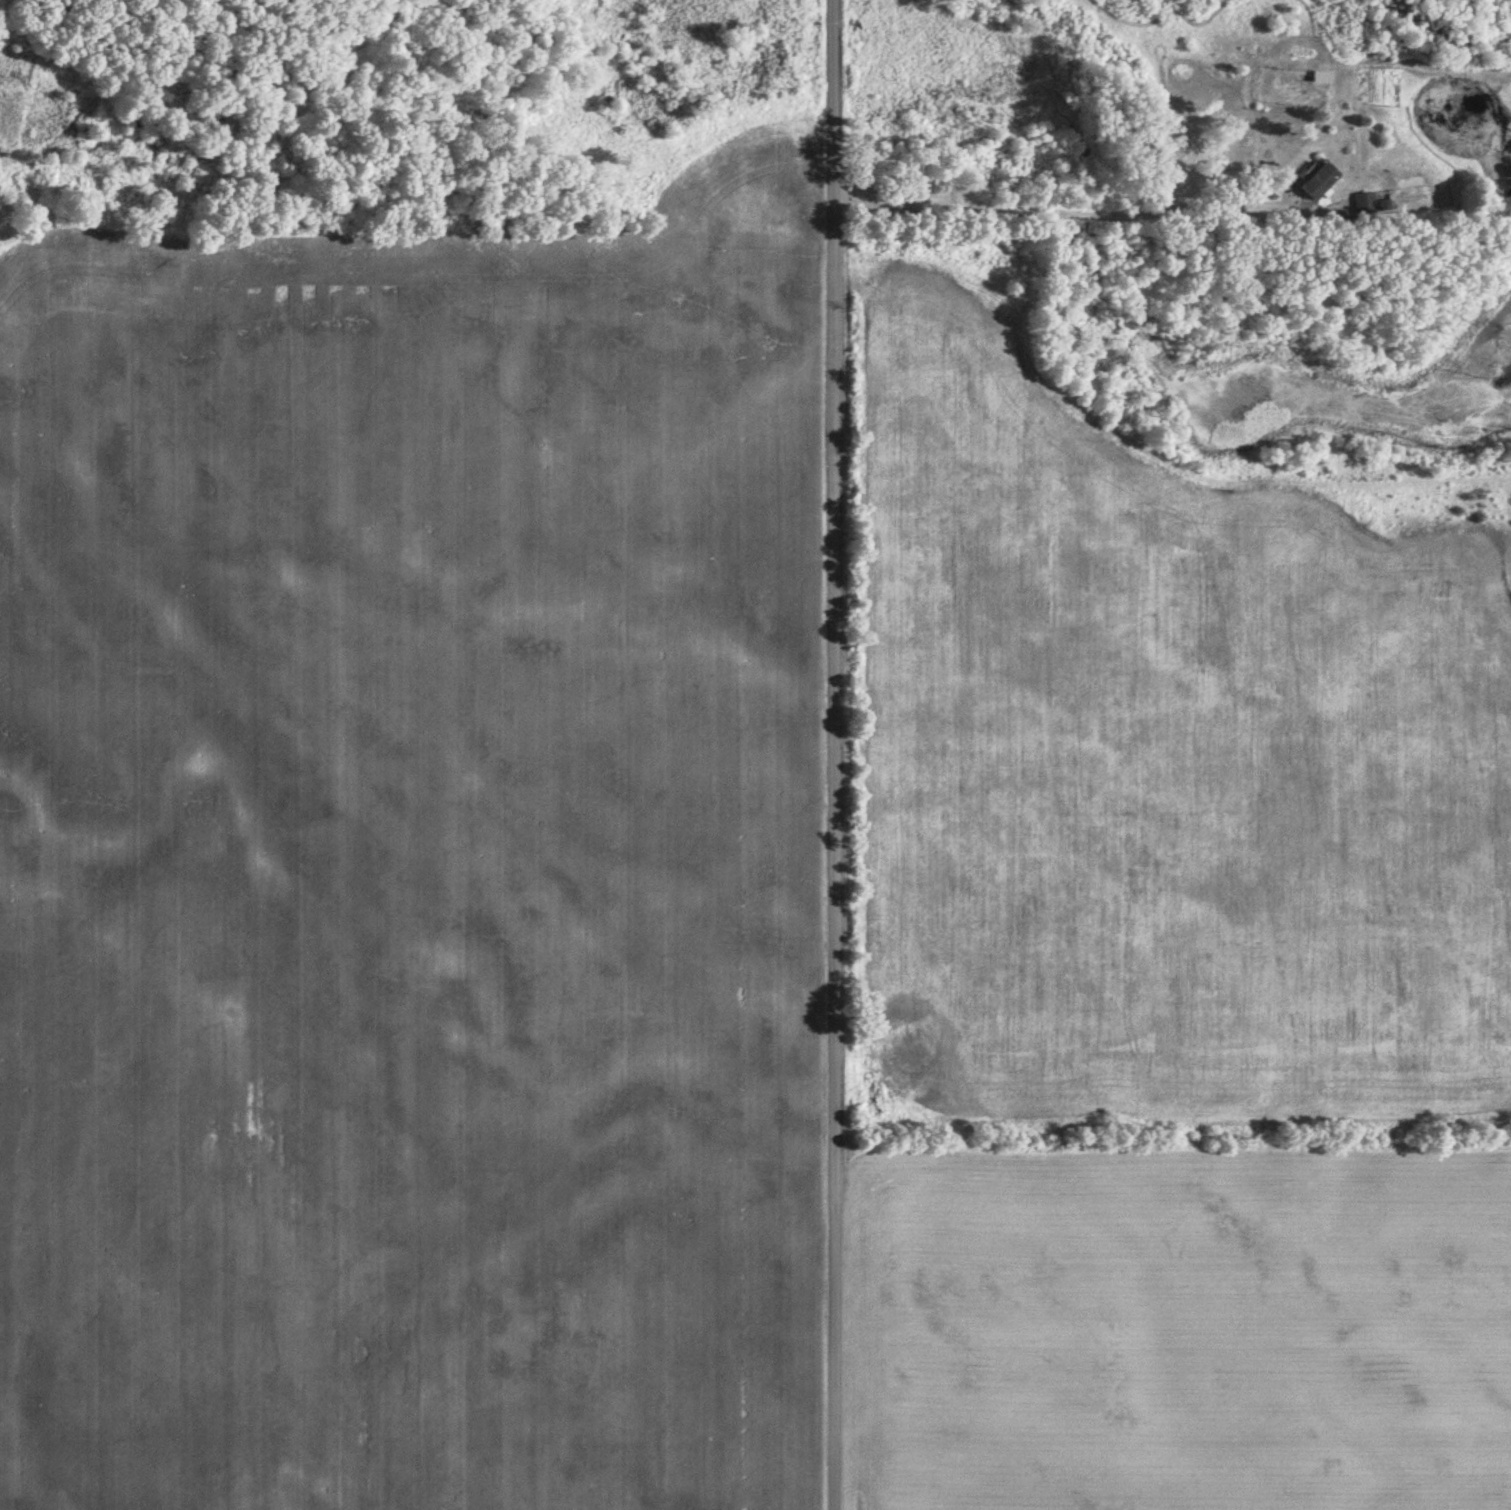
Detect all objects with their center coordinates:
building: (1313, 180)
road: (837, 754)

